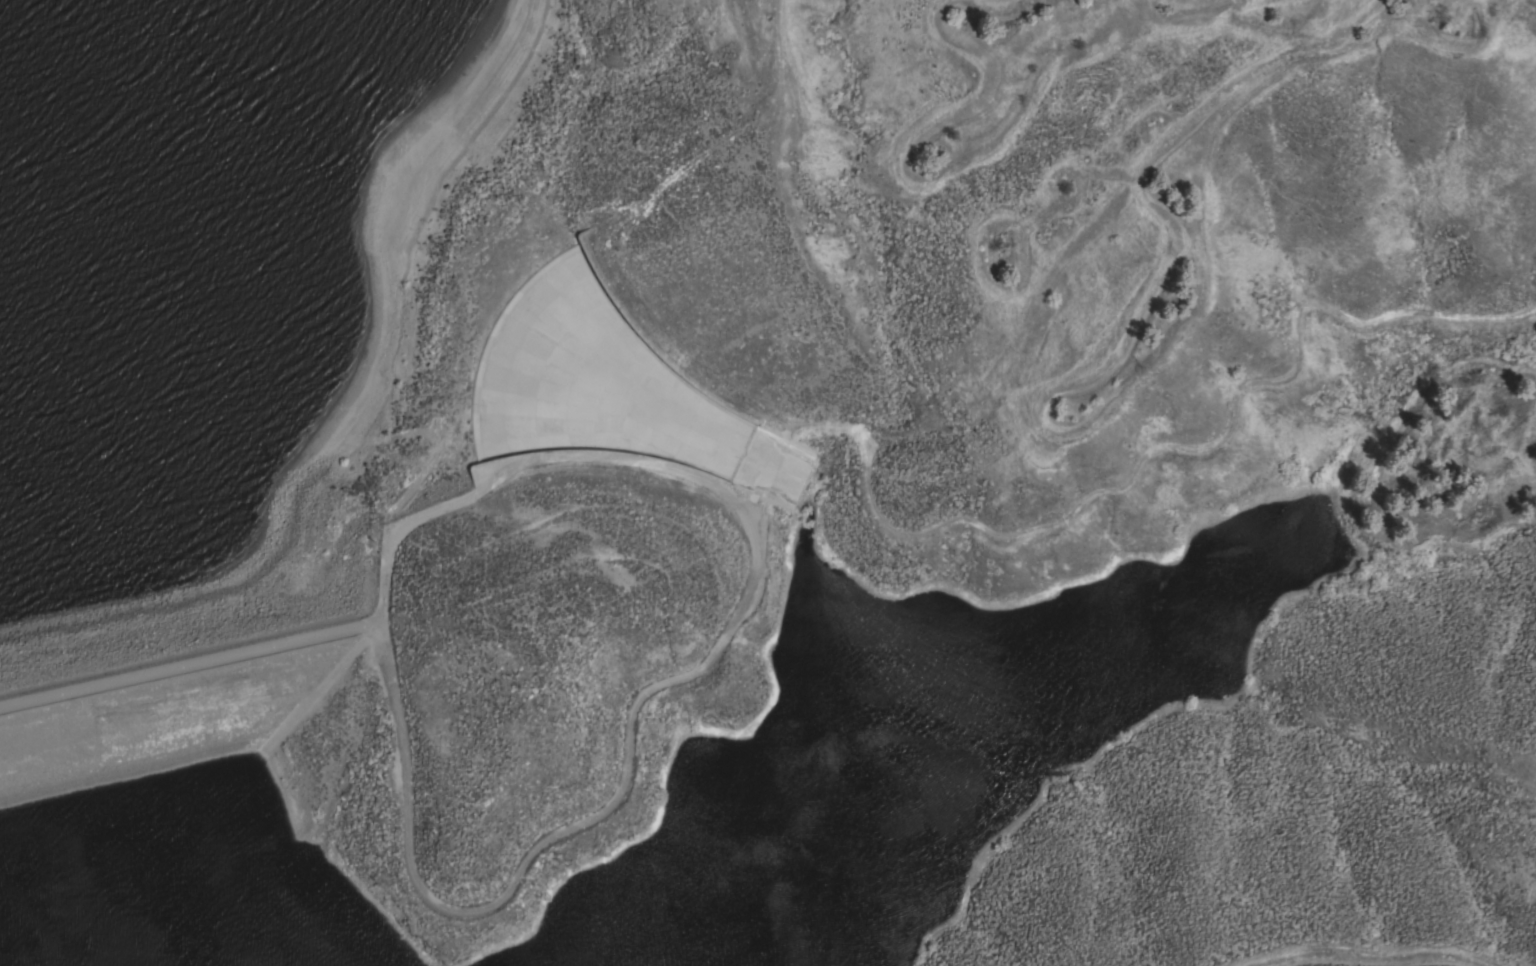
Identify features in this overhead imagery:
park: (512, 255)
dam: (196, 653)
road: (193, 669)
road: (684, 676)
park: (1223, 873)

